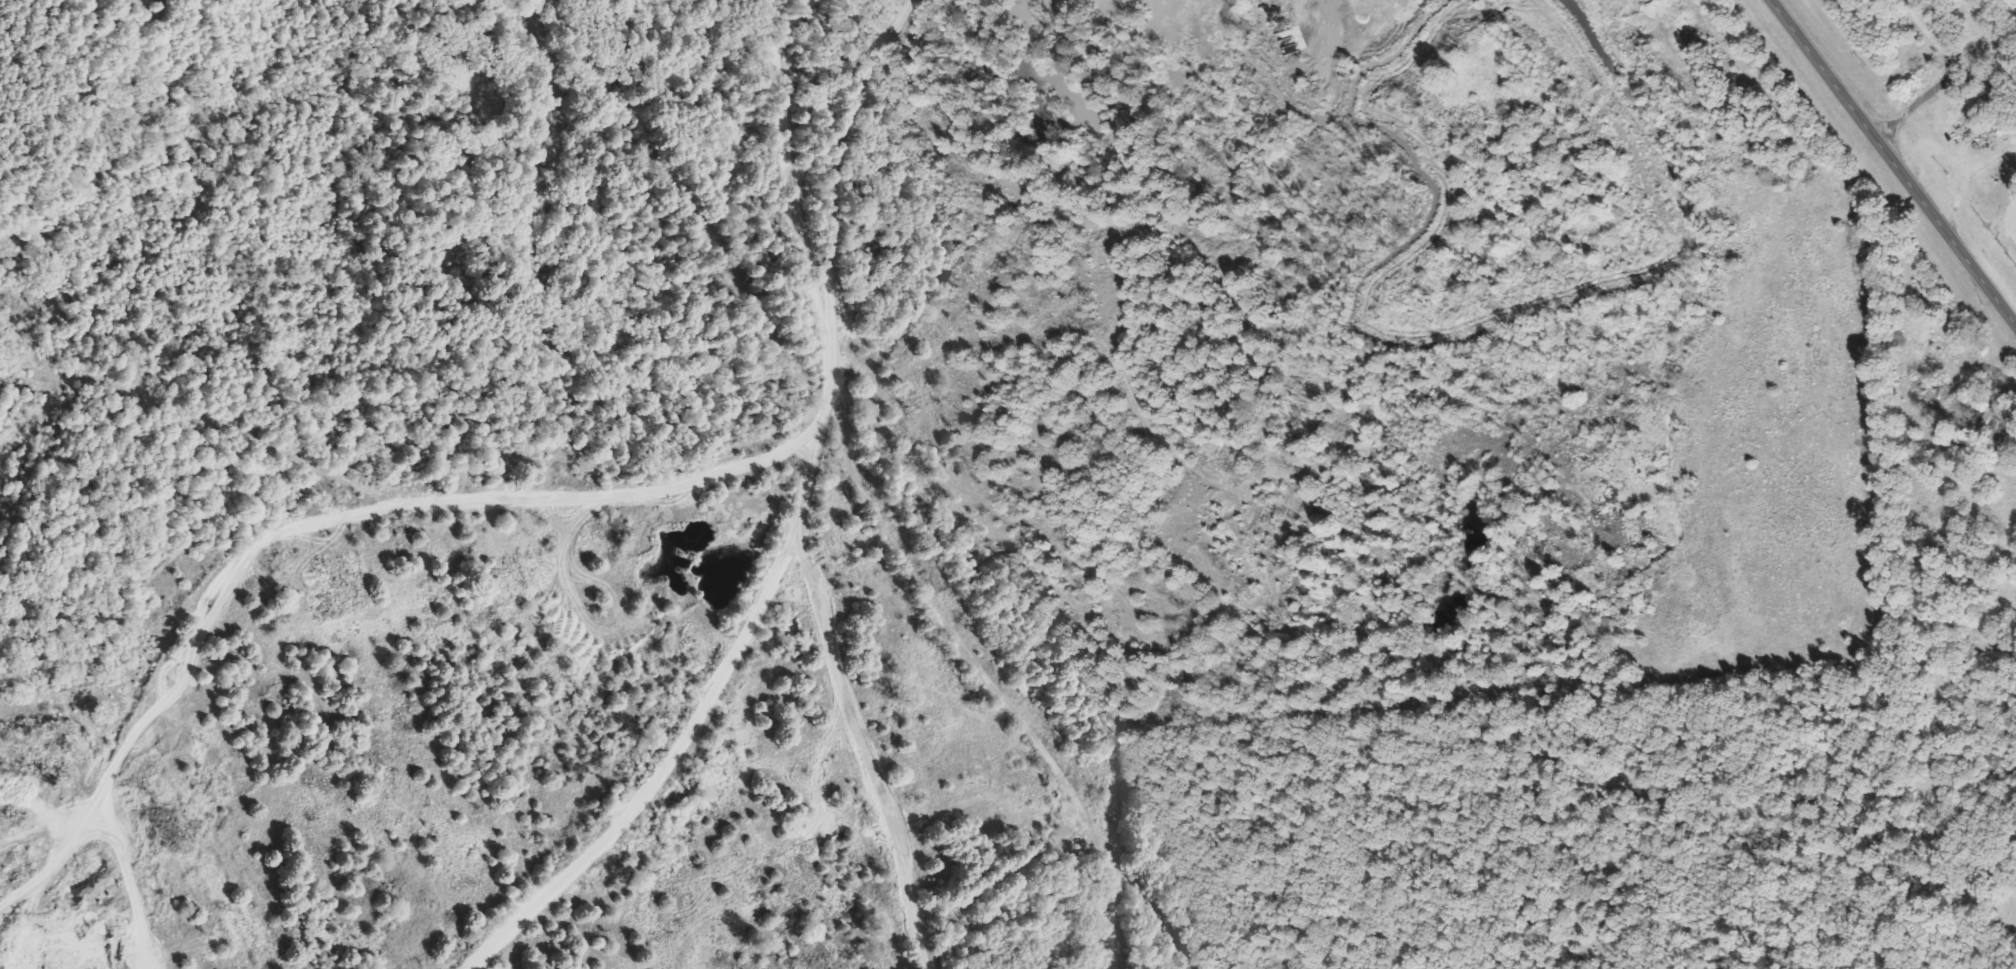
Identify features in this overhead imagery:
road: (1896, 156)

